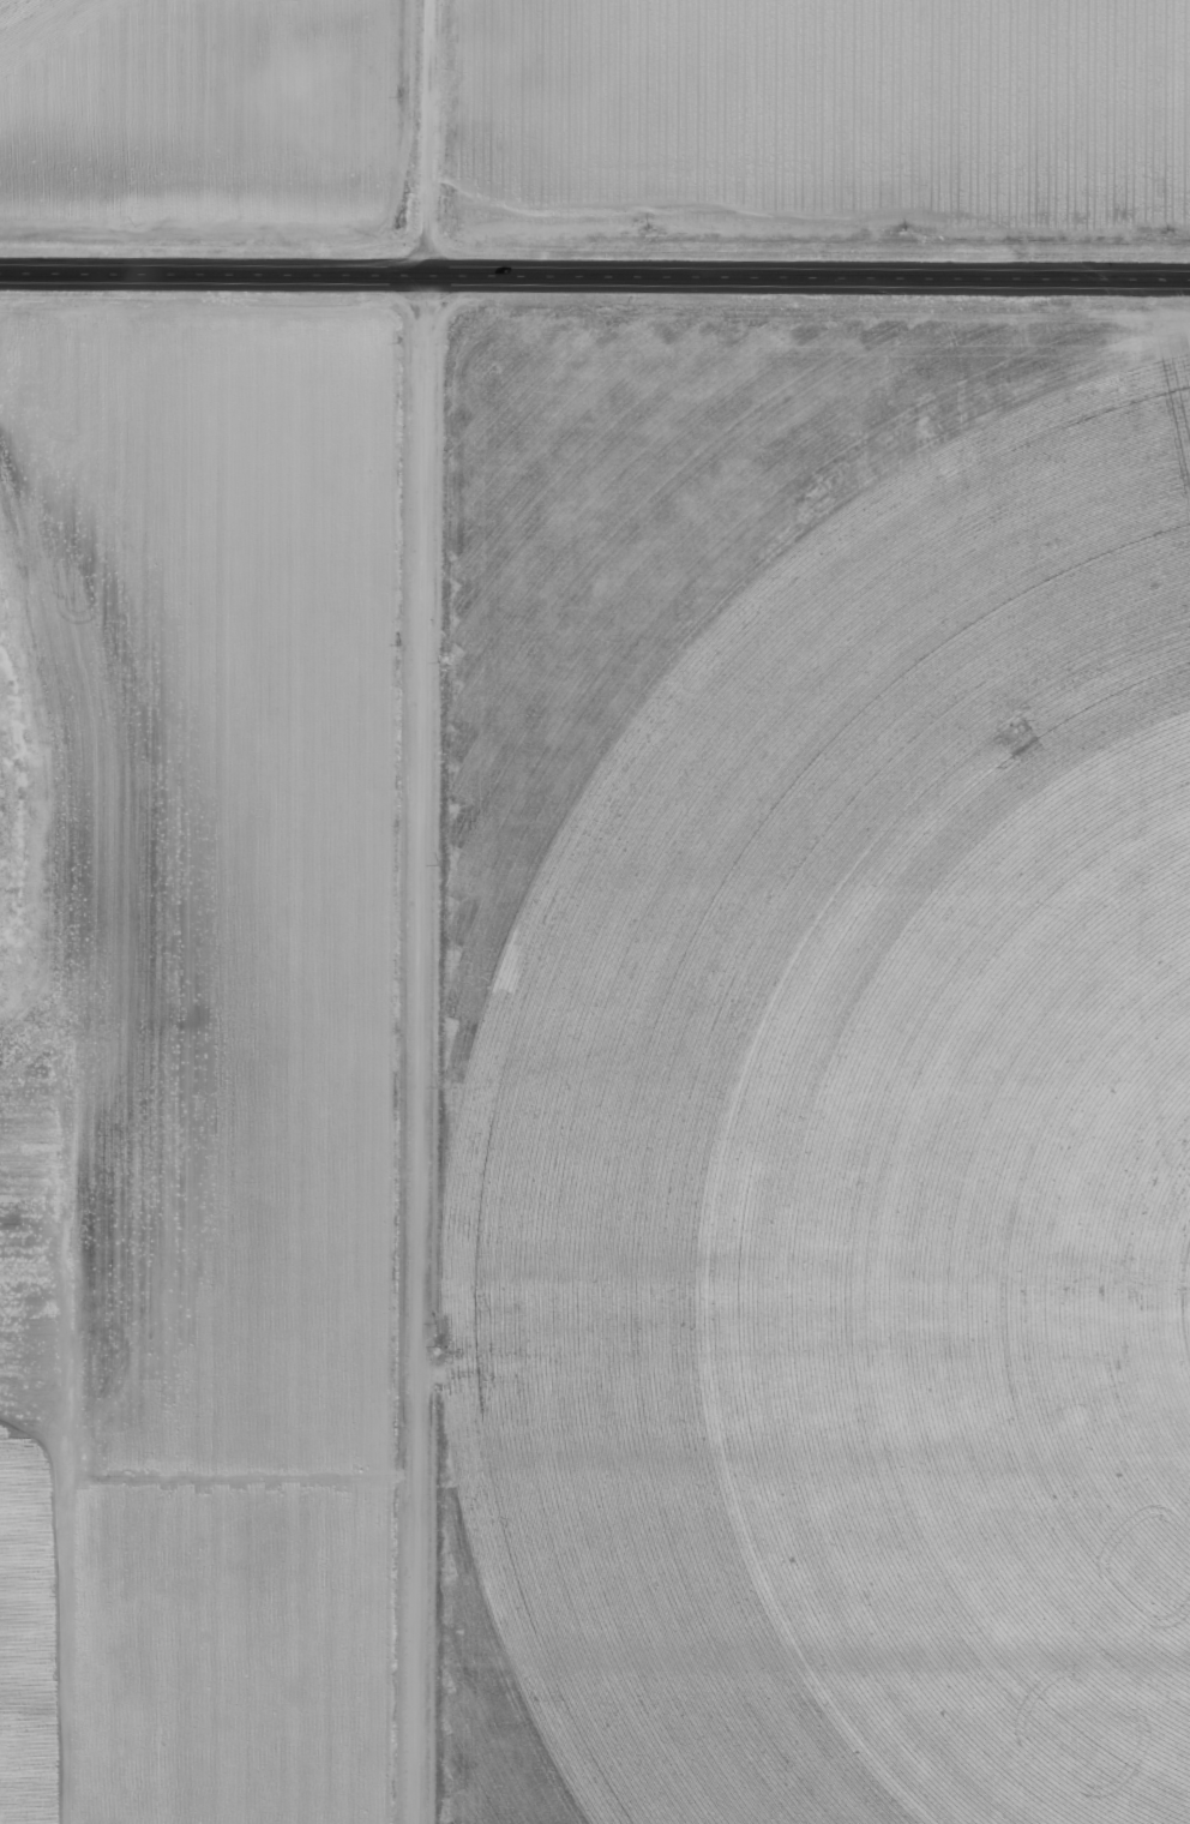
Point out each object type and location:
road: (595, 293)
road: (422, 912)

